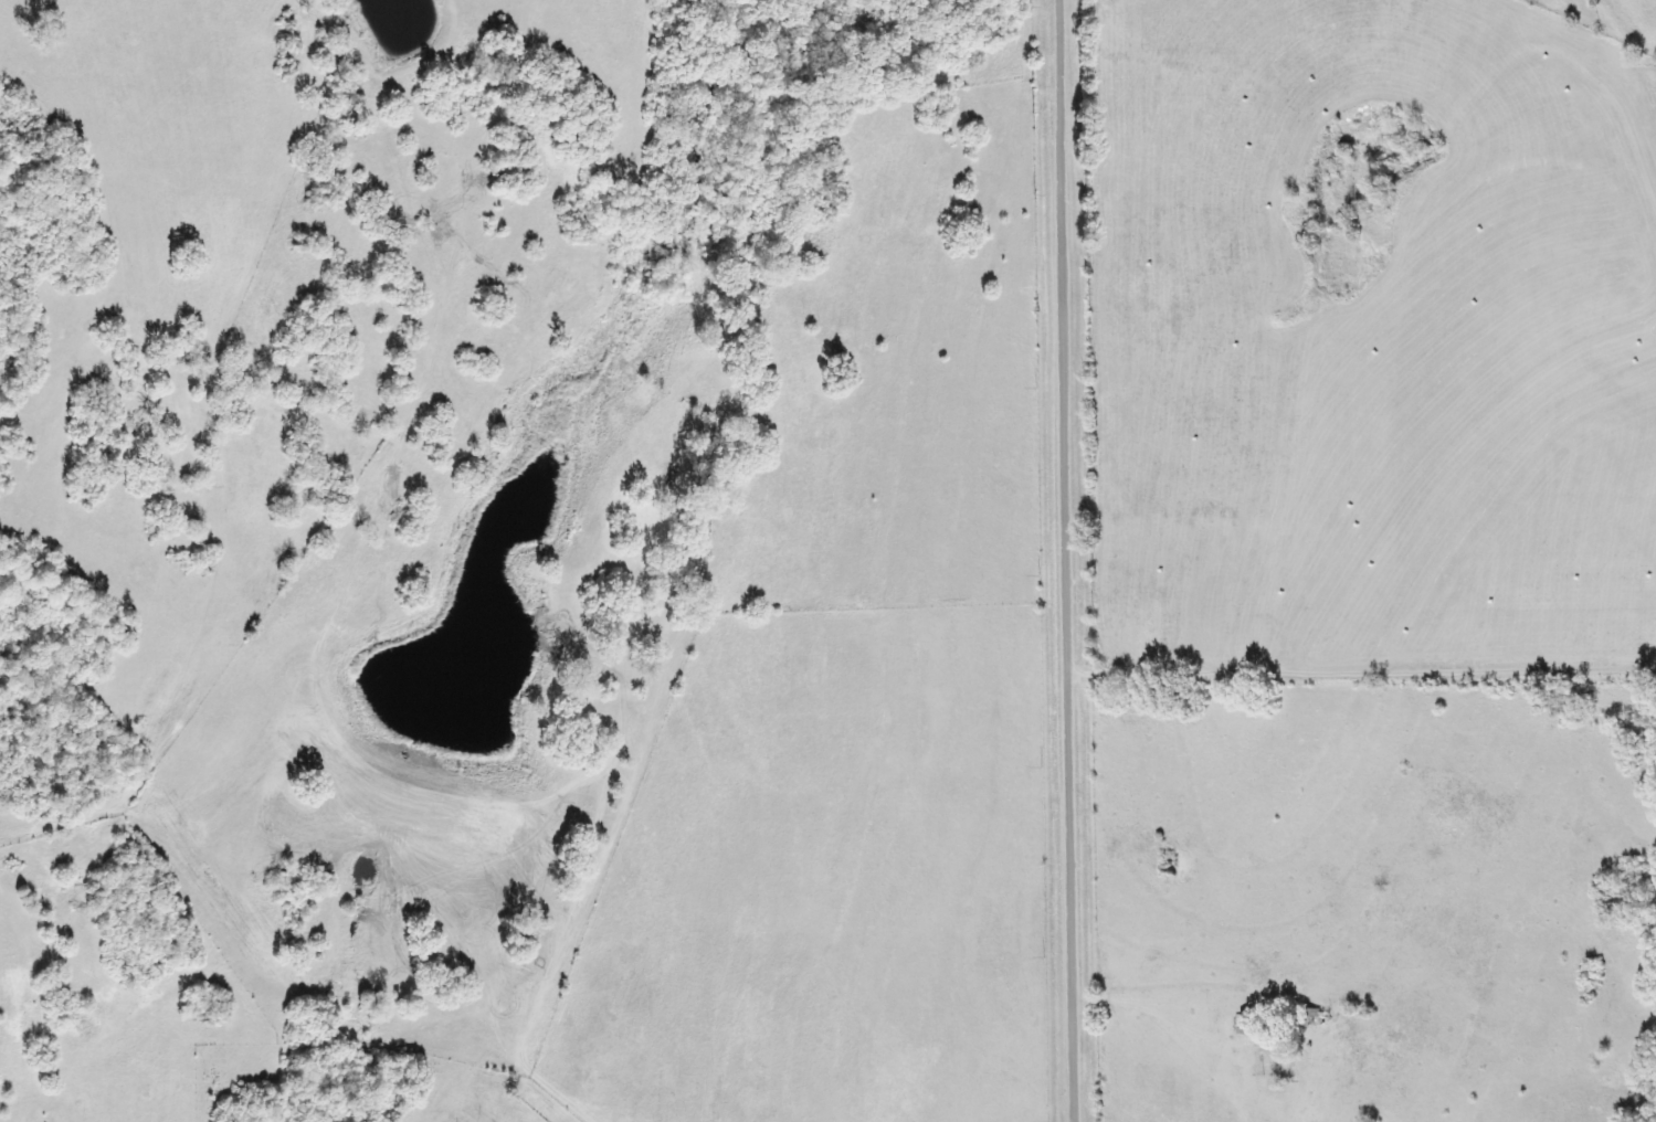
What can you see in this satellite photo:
road: (1068, 561)
building: (1247, 1024)

